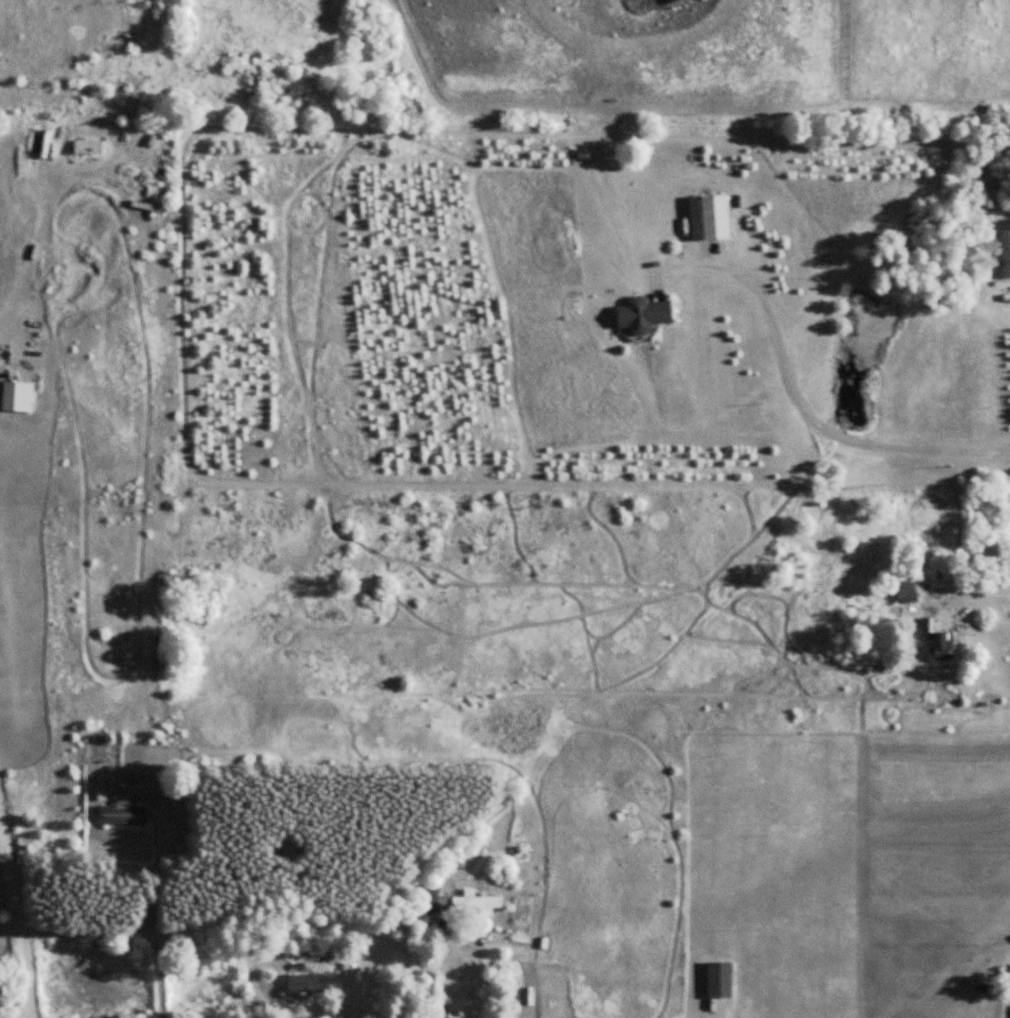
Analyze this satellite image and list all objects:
building: (36, 141)
building: (709, 218)
building: (1006, 254)
building: (642, 315)
building: (16, 397)
building: (906, 589)
building: (943, 645)
building: (122, 813)
building: (431, 899)
building: (476, 900)
road: (19, 919)
building: (718, 981)
building: (305, 982)

